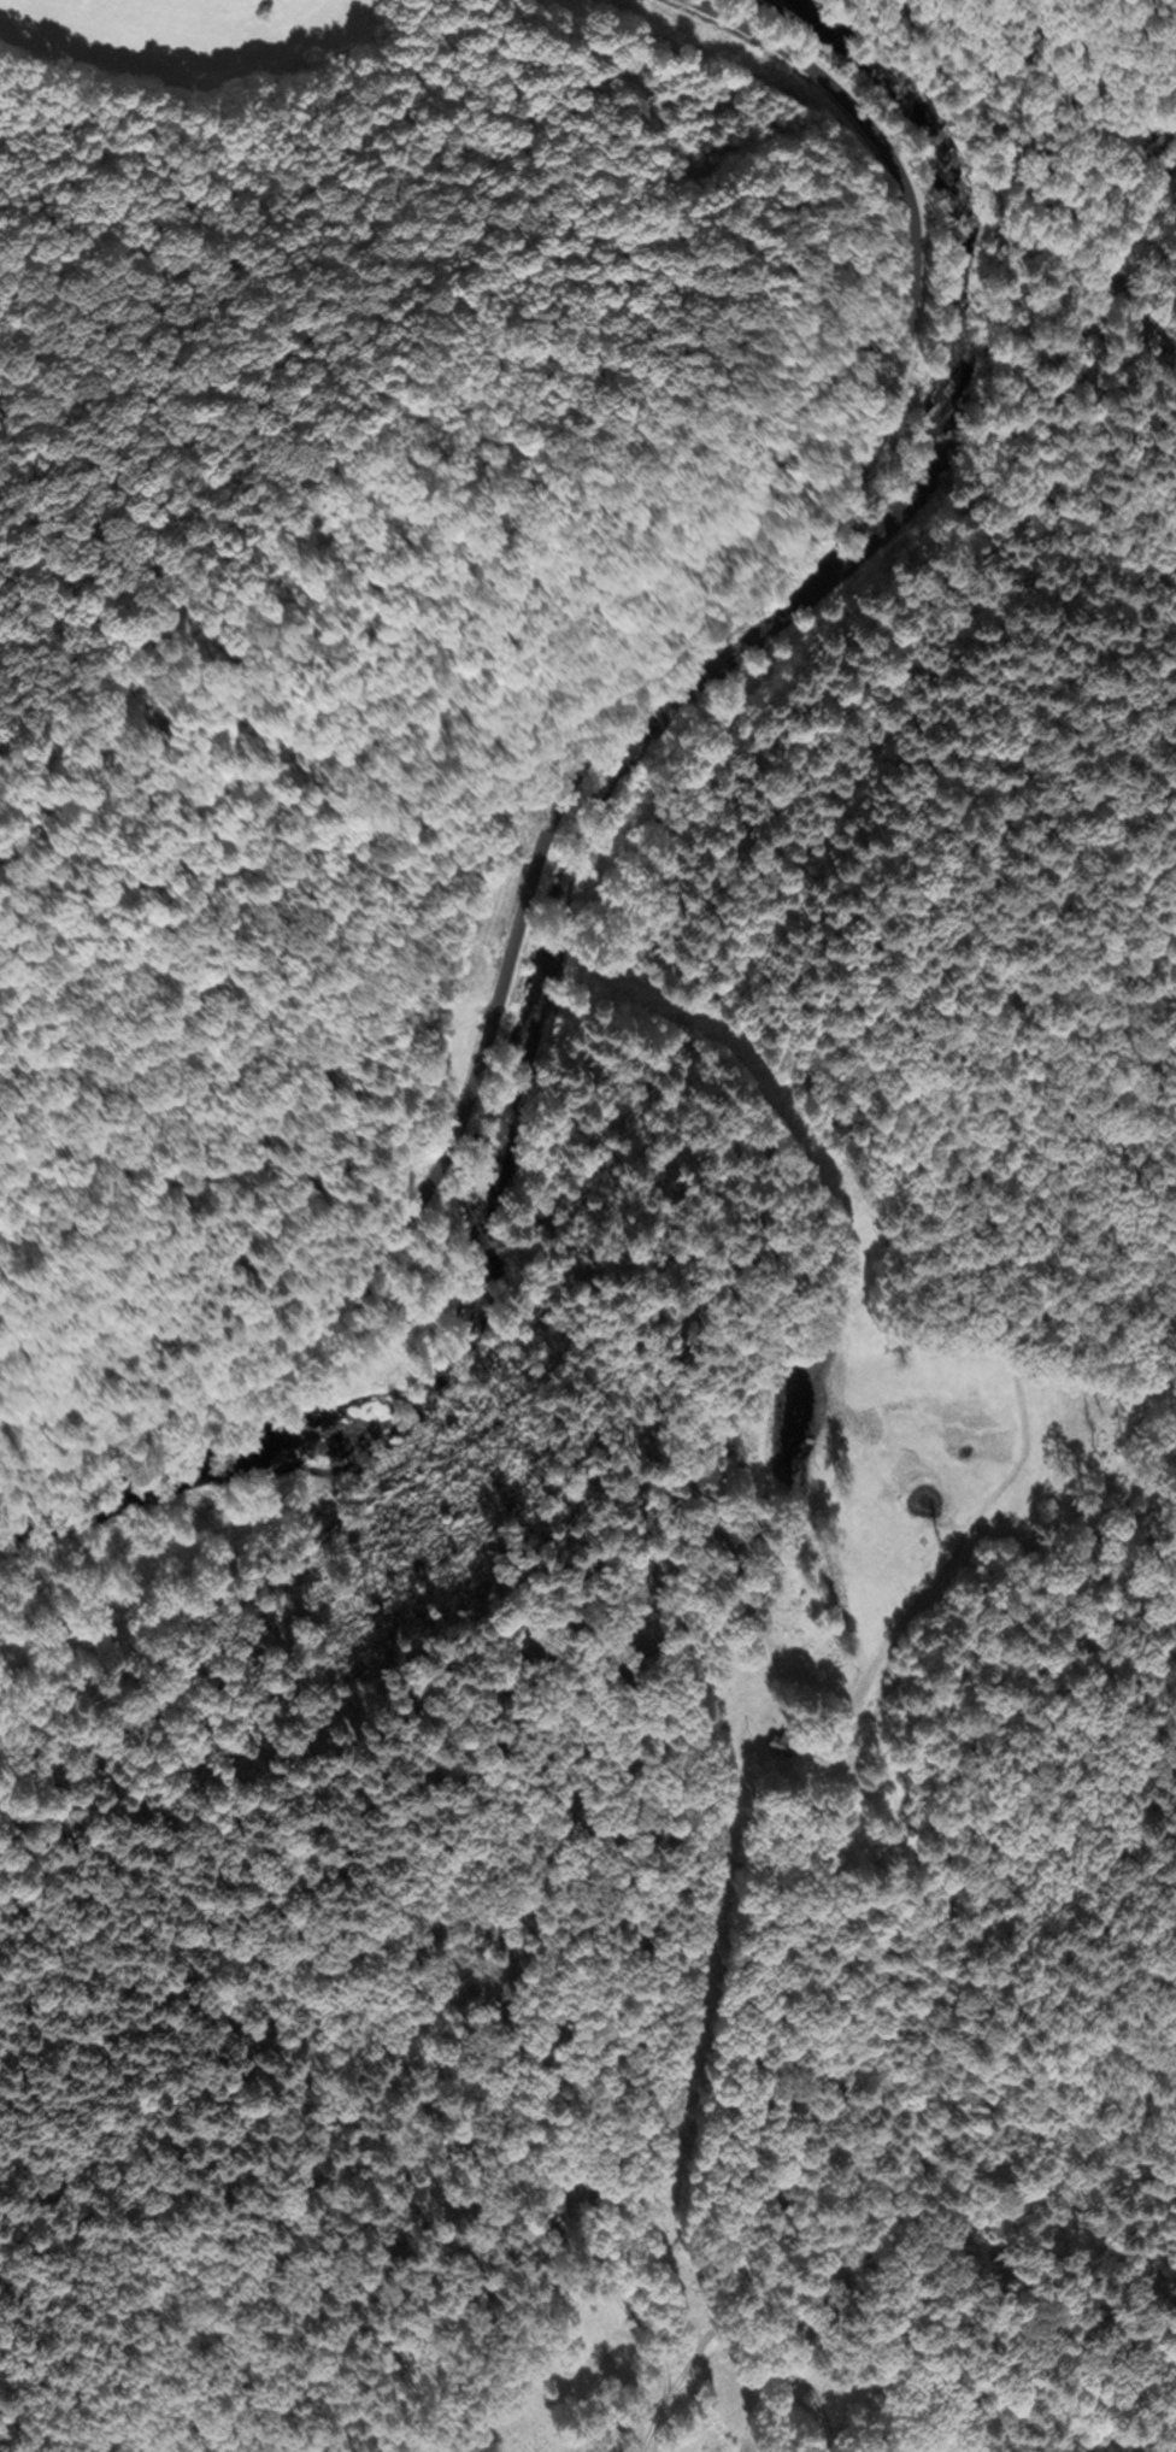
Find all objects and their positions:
building: (1163, 142)
road: (592, 764)
building: (469, 970)
road: (728, 2333)

